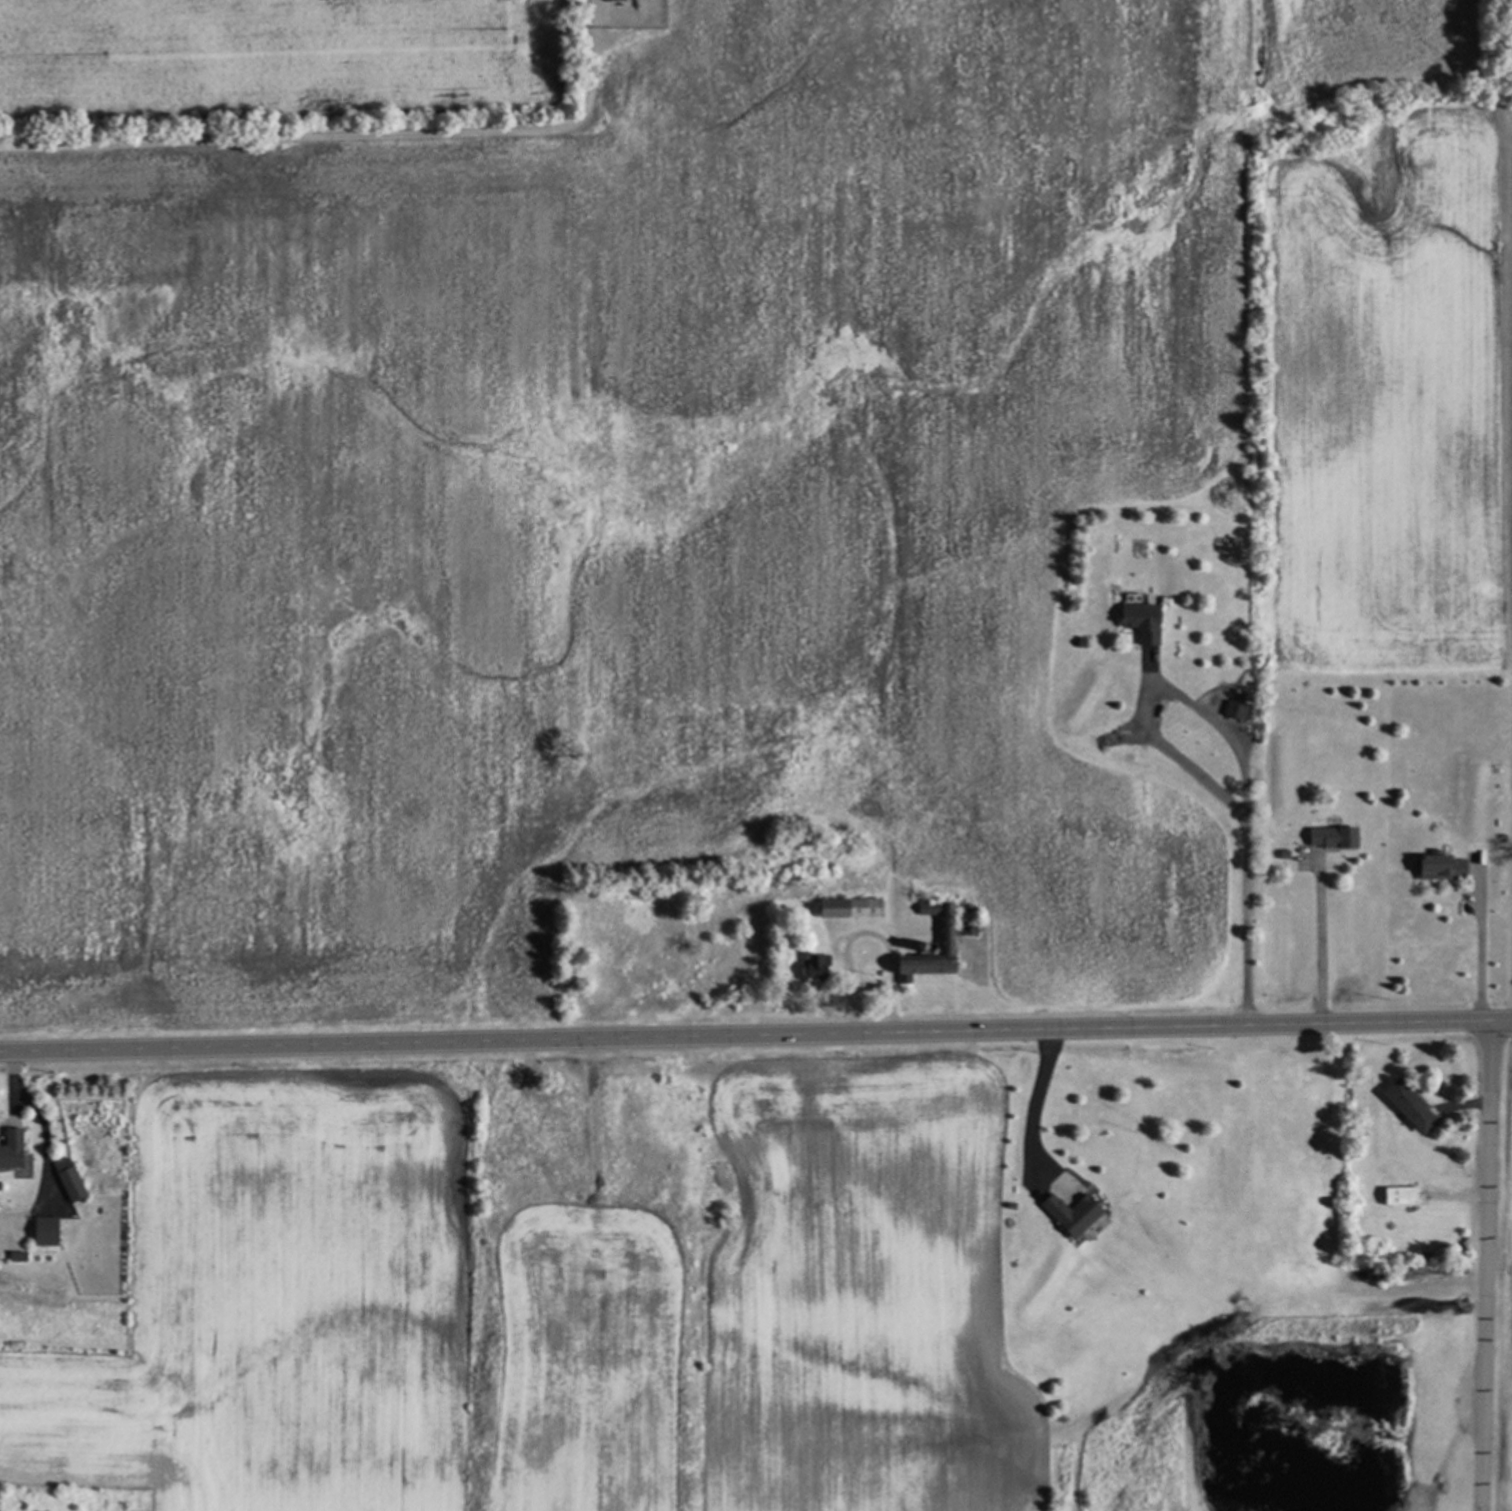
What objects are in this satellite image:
road: (346, 132)
crop: (687, 456)
building: (1135, 618)
building: (1231, 709)
road: (1239, 757)
building: (1327, 837)
building: (1434, 866)
road: (1511, 906)
building: (845, 907)
building: (924, 909)
road: (864, 932)
road: (1317, 949)
building: (923, 958)
road: (1478, 958)
building: (811, 966)
road: (756, 1038)
road: (1032, 1096)
building: (1404, 1105)
building: (8, 1148)
building: (65, 1180)
building: (1397, 1195)
building: (1067, 1213)
building: (42, 1231)
building: (14, 1256)
road: (1486, 1266)

